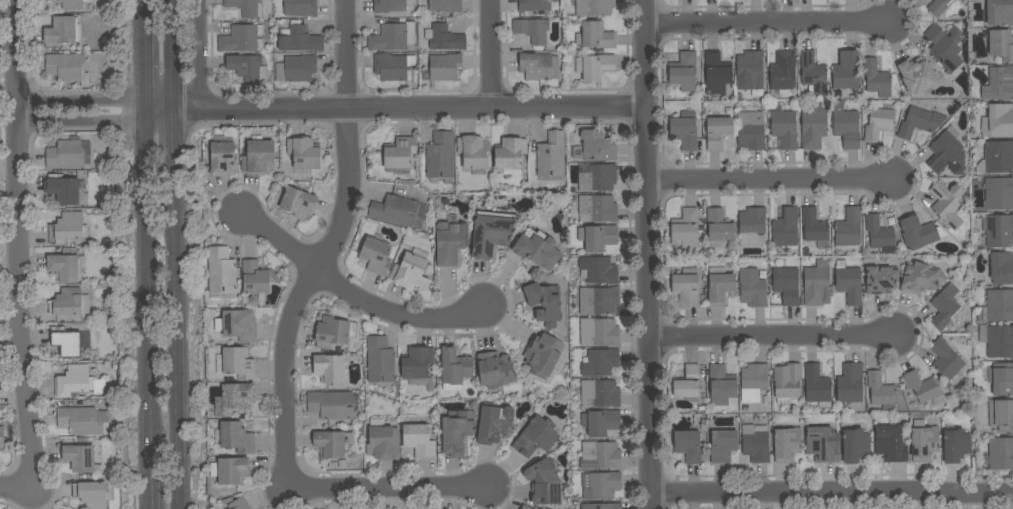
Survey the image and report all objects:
building: (277, 0)
building: (72, 4)
building: (389, 5)
building: (445, 5)
building: (533, 5)
building: (247, 7)
building: (593, 7)
building: (937, 7)
building: (300, 8)
building: (999, 12)
road: (141, 16)
road: (768, 24)
building: (532, 30)
building: (62, 31)
building: (595, 36)
building: (392, 37)
building: (444, 38)
building: (242, 39)
building: (298, 39)
building: (1001, 45)
building: (945, 48)
road: (173, 54)
road: (199, 54)
road: (490, 54)
building: (444, 66)
building: (538, 66)
building: (247, 67)
building: (393, 67)
building: (594, 67)
building: (67, 68)
building: (296, 68)
road: (142, 70)
building: (683, 71)
building: (845, 71)
building: (750, 72)
building: (717, 73)
building: (782, 73)
building: (813, 73)
building: (917, 76)
building: (876, 78)
building: (999, 84)
road: (393, 108)
road: (78, 111)
building: (920, 121)
building: (998, 121)
building: (878, 123)
building: (845, 125)
building: (814, 127)
building: (784, 128)
road: (174, 129)
building: (684, 130)
building: (750, 130)
building: (717, 132)
building: (595, 147)
building: (473, 151)
building: (303, 153)
building: (399, 153)
building: (946, 153)
building: (68, 154)
building: (551, 155)
building: (222, 156)
building: (257, 156)
building: (440, 156)
building: (509, 156)
building: (998, 156)
building: (598, 178)
road: (769, 180)
building: (63, 189)
building: (999, 194)
building: (946, 199)
building: (297, 202)
building: (597, 208)
building: (394, 210)
building: (751, 226)
building: (718, 227)
building: (67, 228)
building: (686, 228)
building: (785, 228)
building: (814, 228)
building: (848, 231)
building: (999, 231)
building: (917, 232)
building: (491, 233)
building: (879, 234)
building: (597, 237)
building: (450, 240)
road: (276, 241)
road: (17, 245)
road: (328, 247)
building: (537, 248)
road: (646, 254)
building: (375, 256)
building: (66, 267)
building: (1001, 268)
building: (221, 270)
building: (598, 270)
building: (410, 272)
building: (257, 277)
building: (920, 278)
building: (880, 279)
building: (849, 284)
building: (786, 285)
building: (815, 285)
building: (686, 287)
building: (720, 287)
building: (752, 288)
road: (146, 290)
building: (598, 300)
building: (69, 303)
building: (544, 303)
building: (944, 306)
building: (998, 306)
road: (397, 309)
building: (236, 326)
road: (176, 330)
building: (334, 332)
building: (599, 332)
road: (773, 337)
building: (999, 341)
building: (66, 342)
building: (543, 354)
building: (380, 359)
building: (416, 362)
building: (600, 362)
building: (946, 362)
building: (236, 363)
building: (455, 366)
building: (329, 367)
building: (494, 370)
building: (1002, 379)
building: (77, 382)
building: (687, 382)
building: (753, 382)
building: (786, 382)
building: (850, 384)
building: (721, 385)
building: (817, 386)
building: (922, 387)
building: (880, 391)
building: (601, 392)
building: (234, 398)
building: (330, 405)
building: (1001, 415)
building: (83, 420)
building: (600, 422)
building: (494, 424)
building: (457, 431)
building: (3, 435)
building: (236, 437)
building: (536, 437)
building: (418, 438)
building: (383, 442)
building: (755, 443)
building: (924, 443)
building: (332, 444)
building: (787, 444)
building: (822, 444)
building: (890, 444)
building: (722, 445)
building: (855, 445)
building: (956, 445)
building: (688, 446)
building: (1000, 453)
building: (600, 455)
building: (79, 458)
building: (232, 470)
building: (544, 483)
building: (600, 485)
road: (386, 488)
road: (15, 490)
road: (150, 490)
building: (91, 494)
road: (831, 496)
building: (239, 504)
building: (601, 506)
building: (525, 507)

